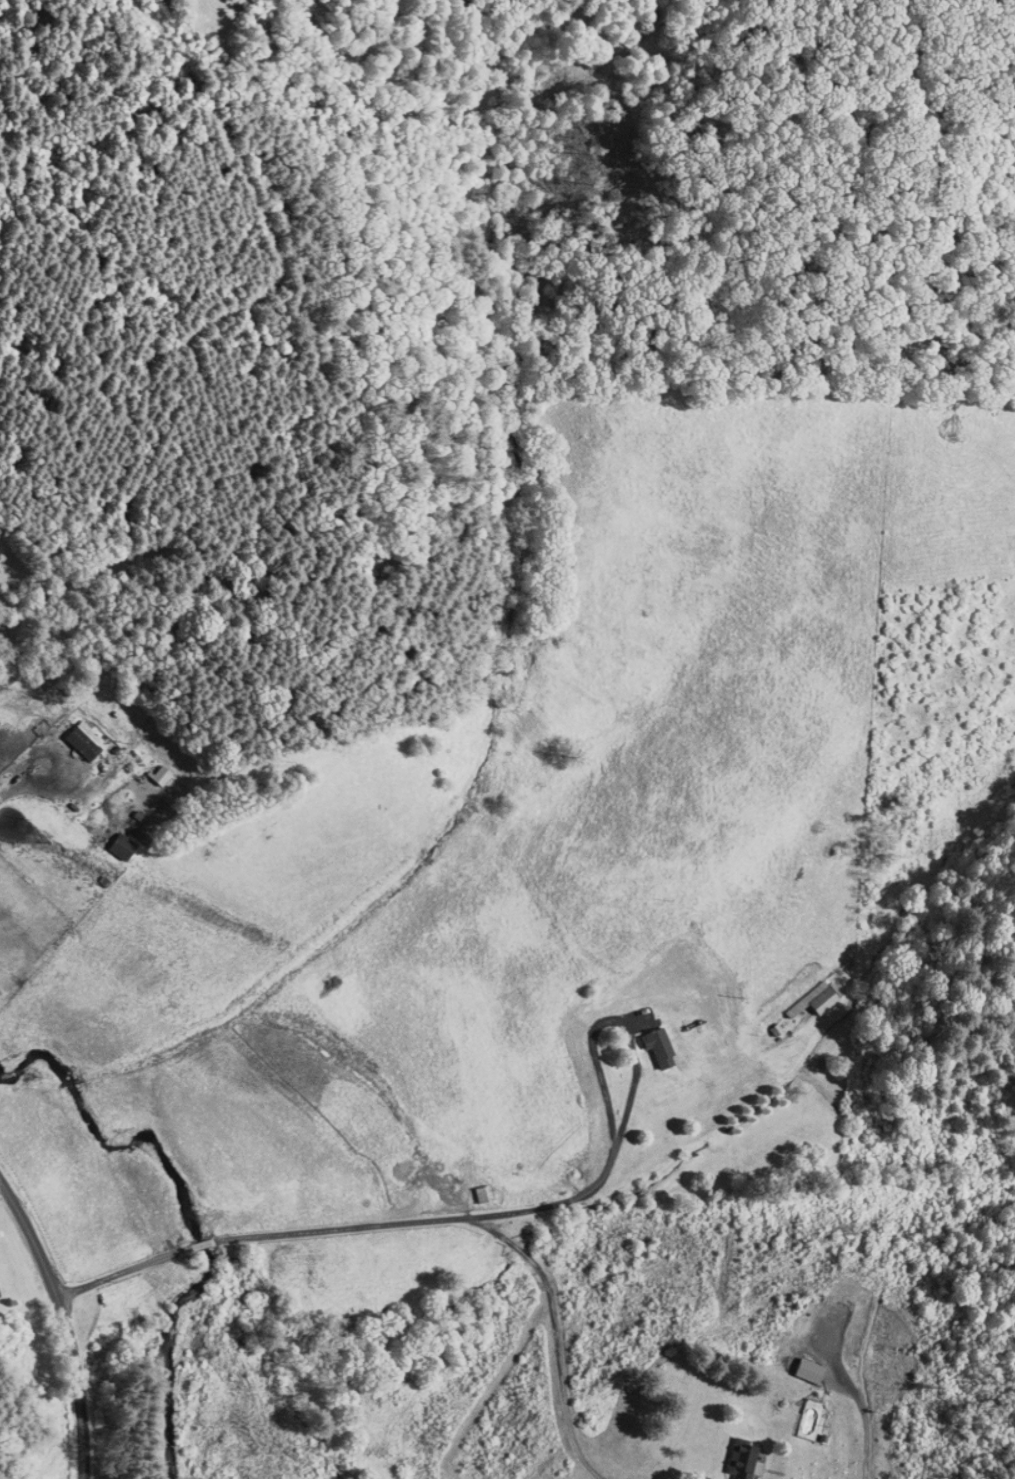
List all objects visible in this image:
road: (876, 99)
road: (59, 793)
road: (652, 1097)
road: (456, 1218)
road: (64, 1323)

